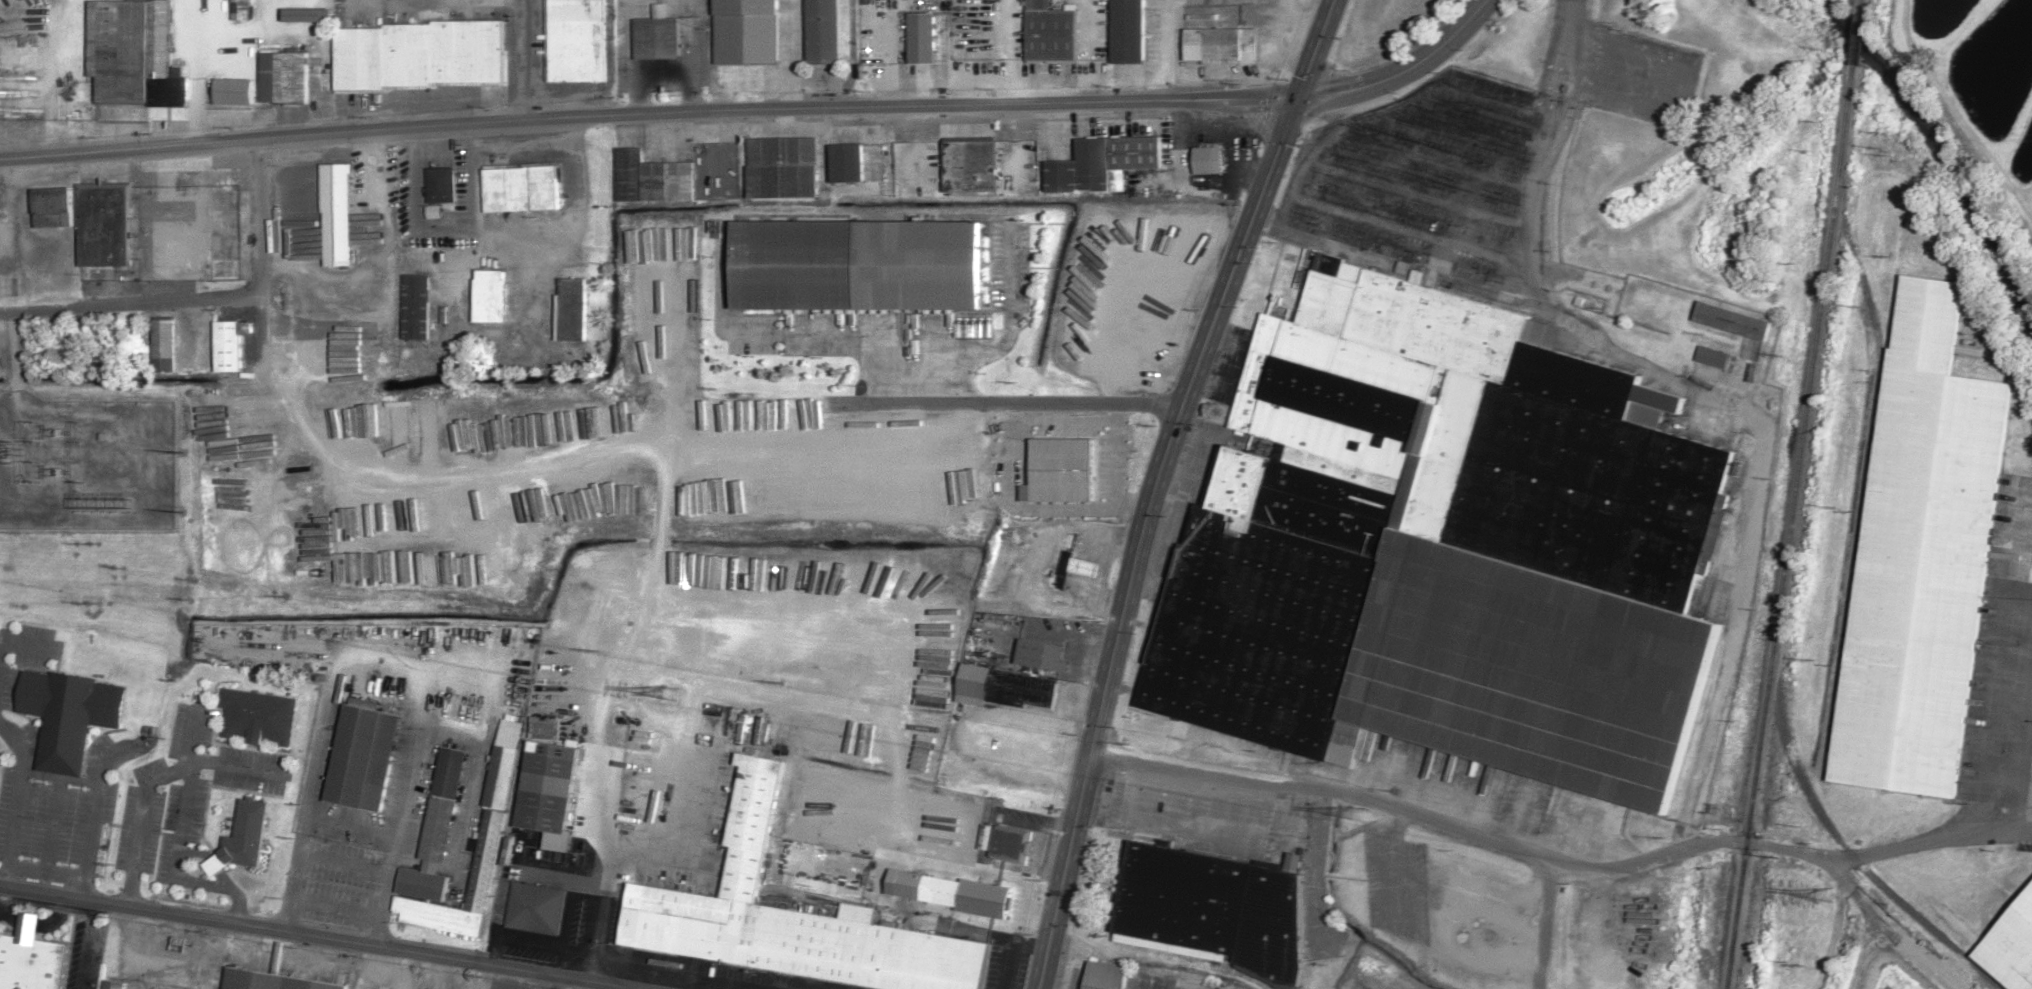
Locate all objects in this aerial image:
railway: (1859, 1)
building: (238, 9)
building: (308, 16)
road: (1296, 23)
railway: (1855, 28)
building: (746, 31)
building: (824, 31)
building: (1127, 31)
building: (1050, 33)
building: (657, 38)
building: (920, 38)
building: (576, 40)
building: (1220, 45)
road: (1168, 49)
building: (133, 55)
building: (418, 55)
road: (527, 59)
road: (1400, 69)
building: (283, 78)
building: (232, 92)
traffic signals: (1296, 100)
road: (647, 113)
aquafarm: (1976, 120)
river: (1943, 150)
building: (1208, 160)
building: (846, 163)
building: (1102, 164)
building: (967, 167)
building: (782, 168)
building: (440, 185)
building: (51, 208)
building: (335, 215)
building: (103, 225)
building: (929, 257)
building: (489, 297)
road: (205, 300)
building: (569, 301)
building: (414, 307)
building: (1732, 322)
building: (1102, 341)
building: (163, 346)
building: (227, 356)
building: (1712, 357)
power substation: (89, 467)
road: (1154, 485)
railway: (1790, 521)
building: (1449, 545)
building: (1922, 553)
road: (23, 641)
building: (1040, 654)
power tower: (665, 692)
building: (263, 717)
building: (75, 718)
road: (193, 735)
road: (2019, 735)
building: (362, 755)
road: (59, 779)
road: (155, 779)
building: (546, 792)
building: (495, 795)
road: (15, 800)
building: (442, 803)
road: (94, 810)
power tower: (1359, 814)
road: (52, 824)
road: (1930, 834)
building: (248, 839)
road: (198, 853)
road: (1555, 853)
building: (836, 866)
road: (25, 867)
road: (217, 867)
road: (178, 868)
road: (64, 873)
road: (228, 880)
power tower: (1828, 889)
building: (936, 890)
building: (535, 908)
building: (1212, 908)
building: (787, 918)
road: (28, 922)
road: (324, 937)
road: (89, 945)
building: (2010, 948)
building: (34, 958)
building: (1125, 978)
building: (271, 981)
road: (551, 982)
building: (112, 984)

